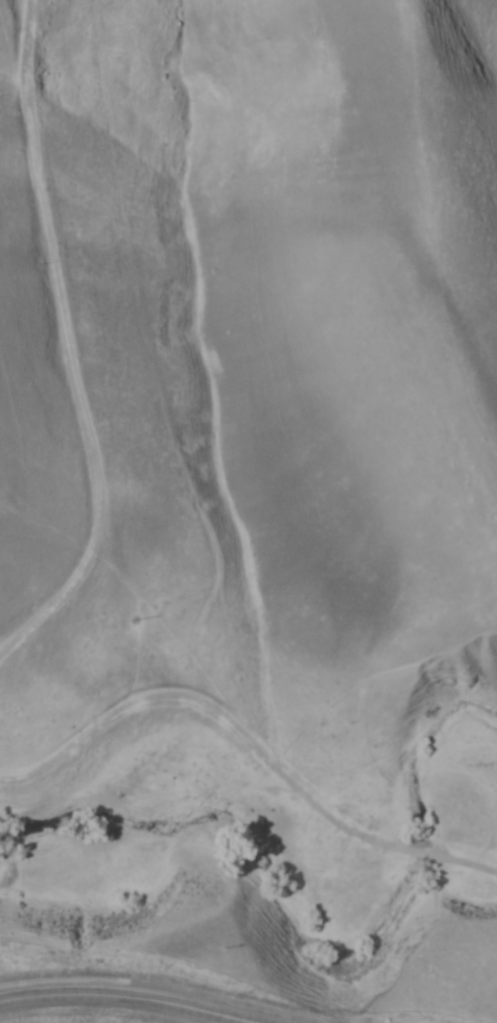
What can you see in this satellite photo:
road: (70, 345)
road: (250, 741)
road: (172, 982)

